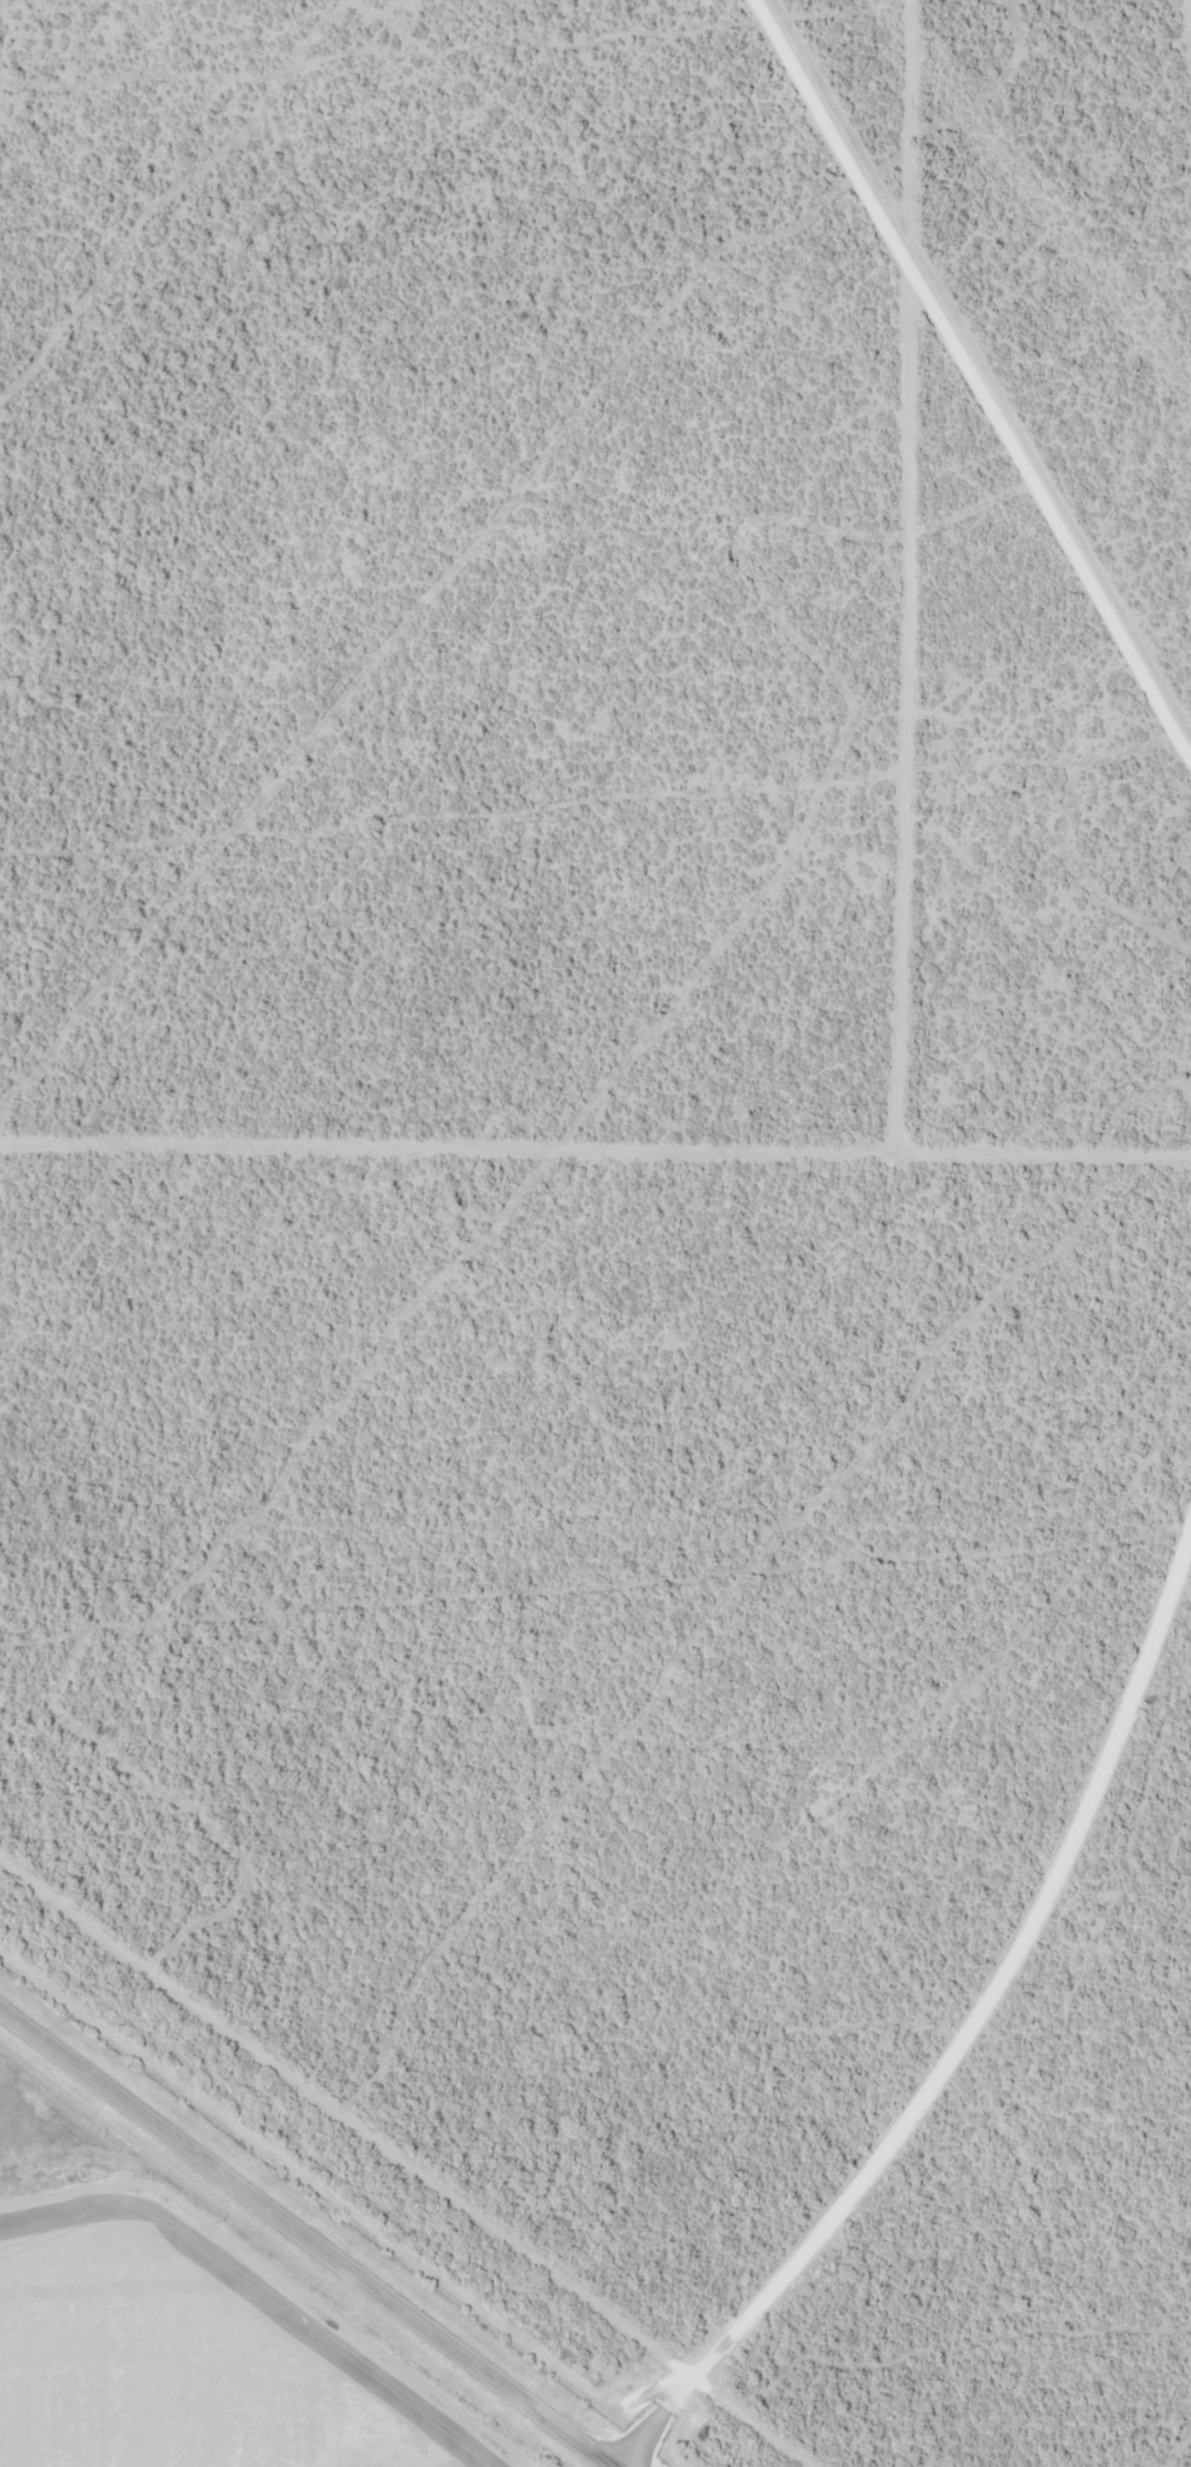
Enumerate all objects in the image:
road: (312, 2233)

